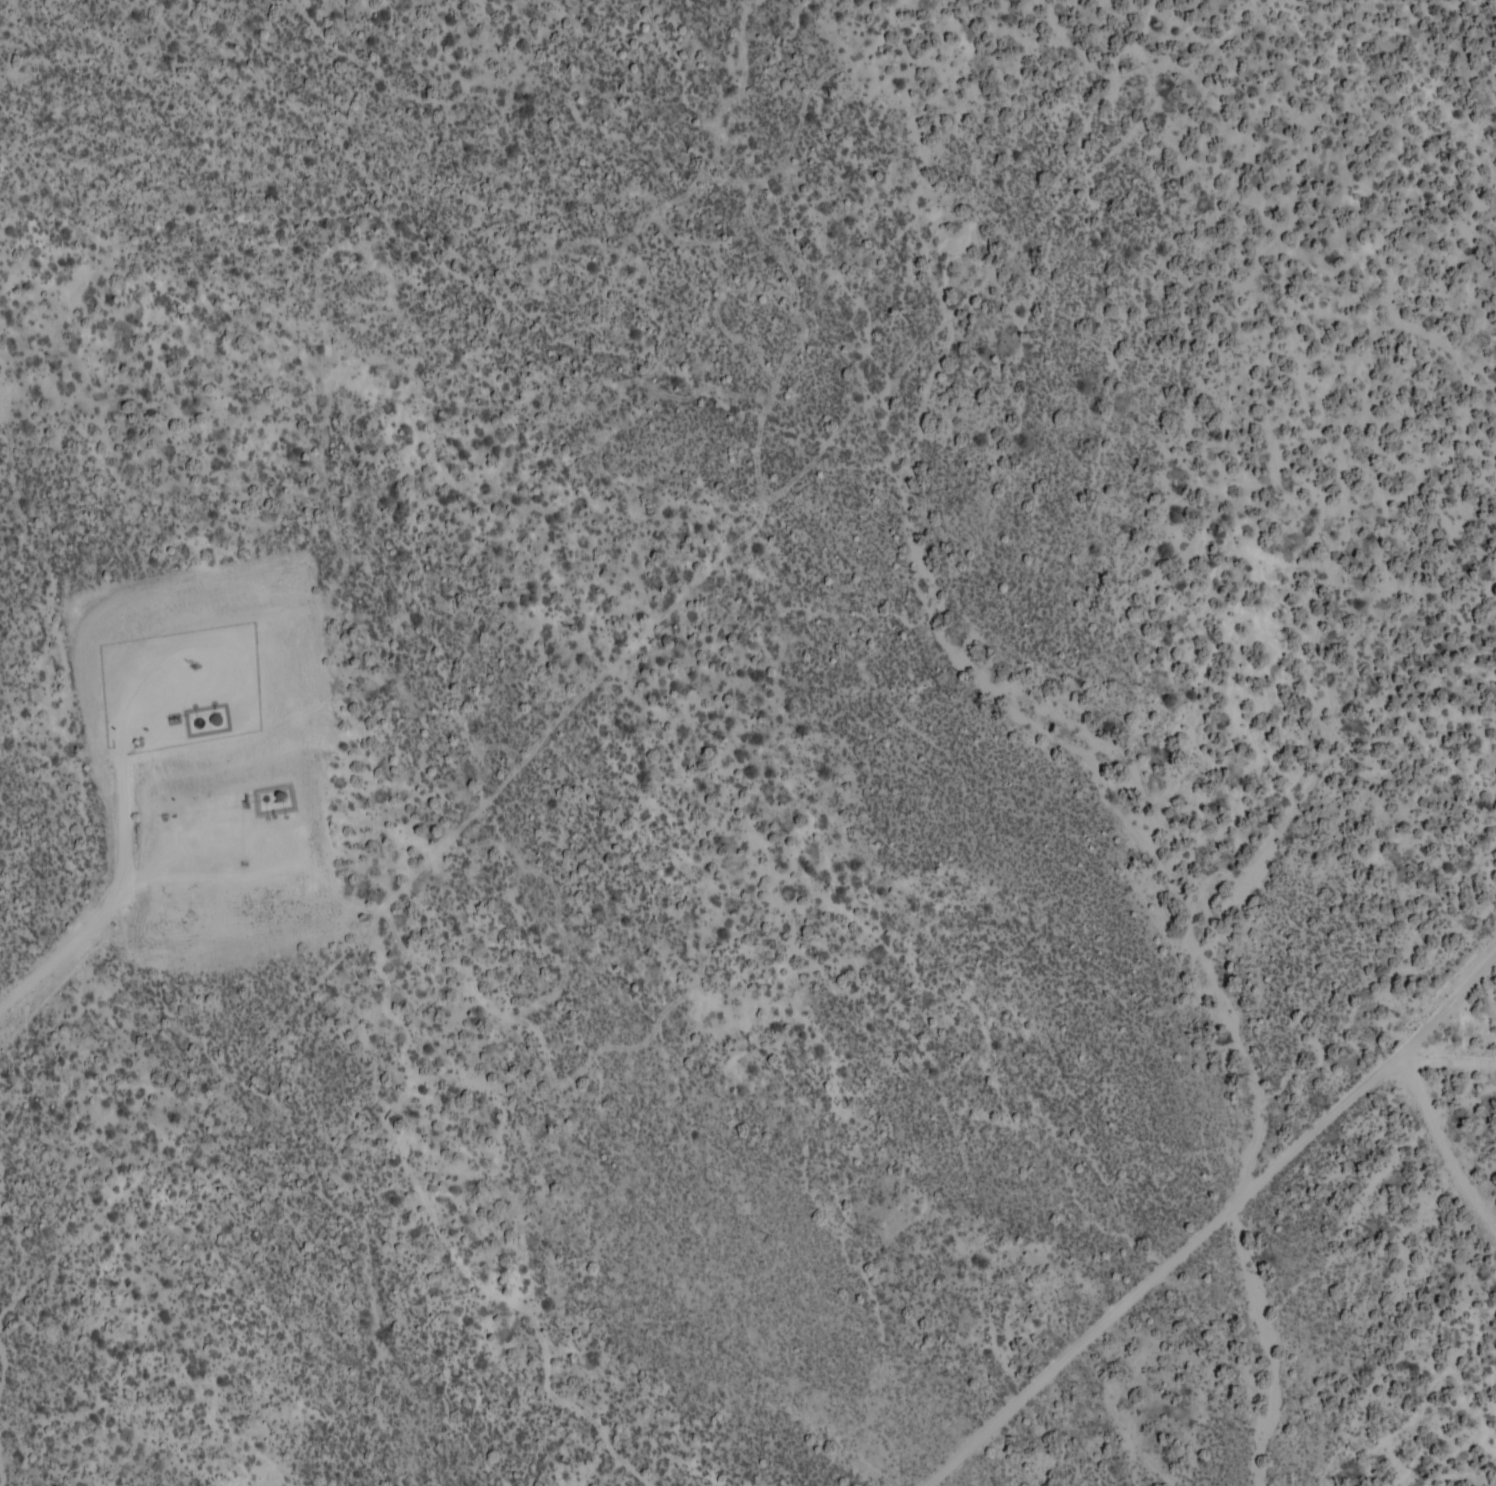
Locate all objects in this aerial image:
road: (1319, 1312)

